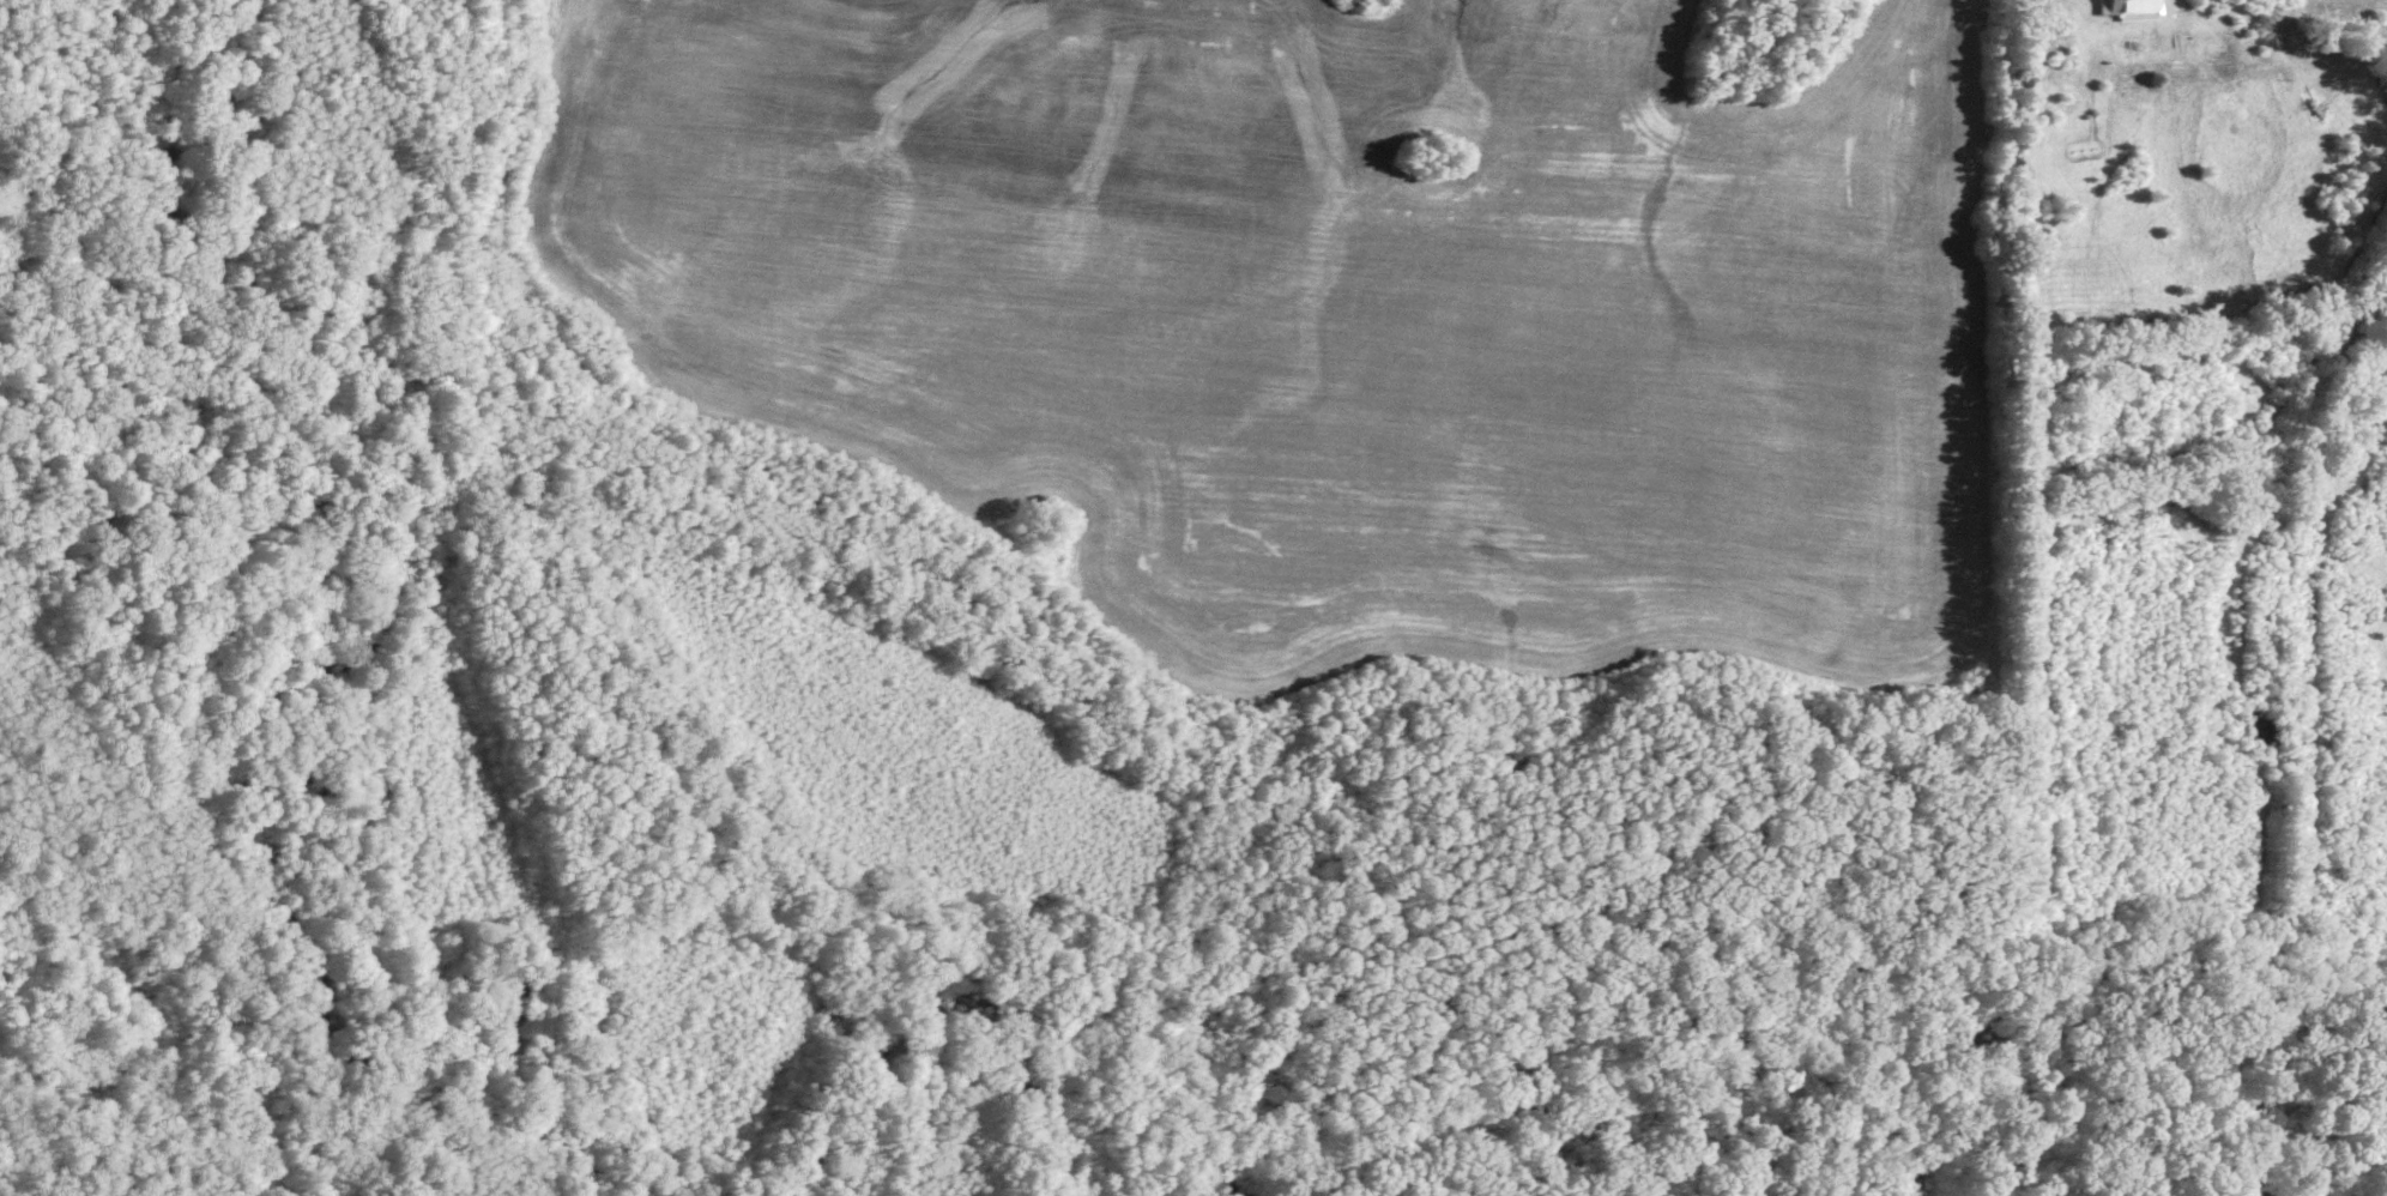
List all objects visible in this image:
building: (2131, 8)

